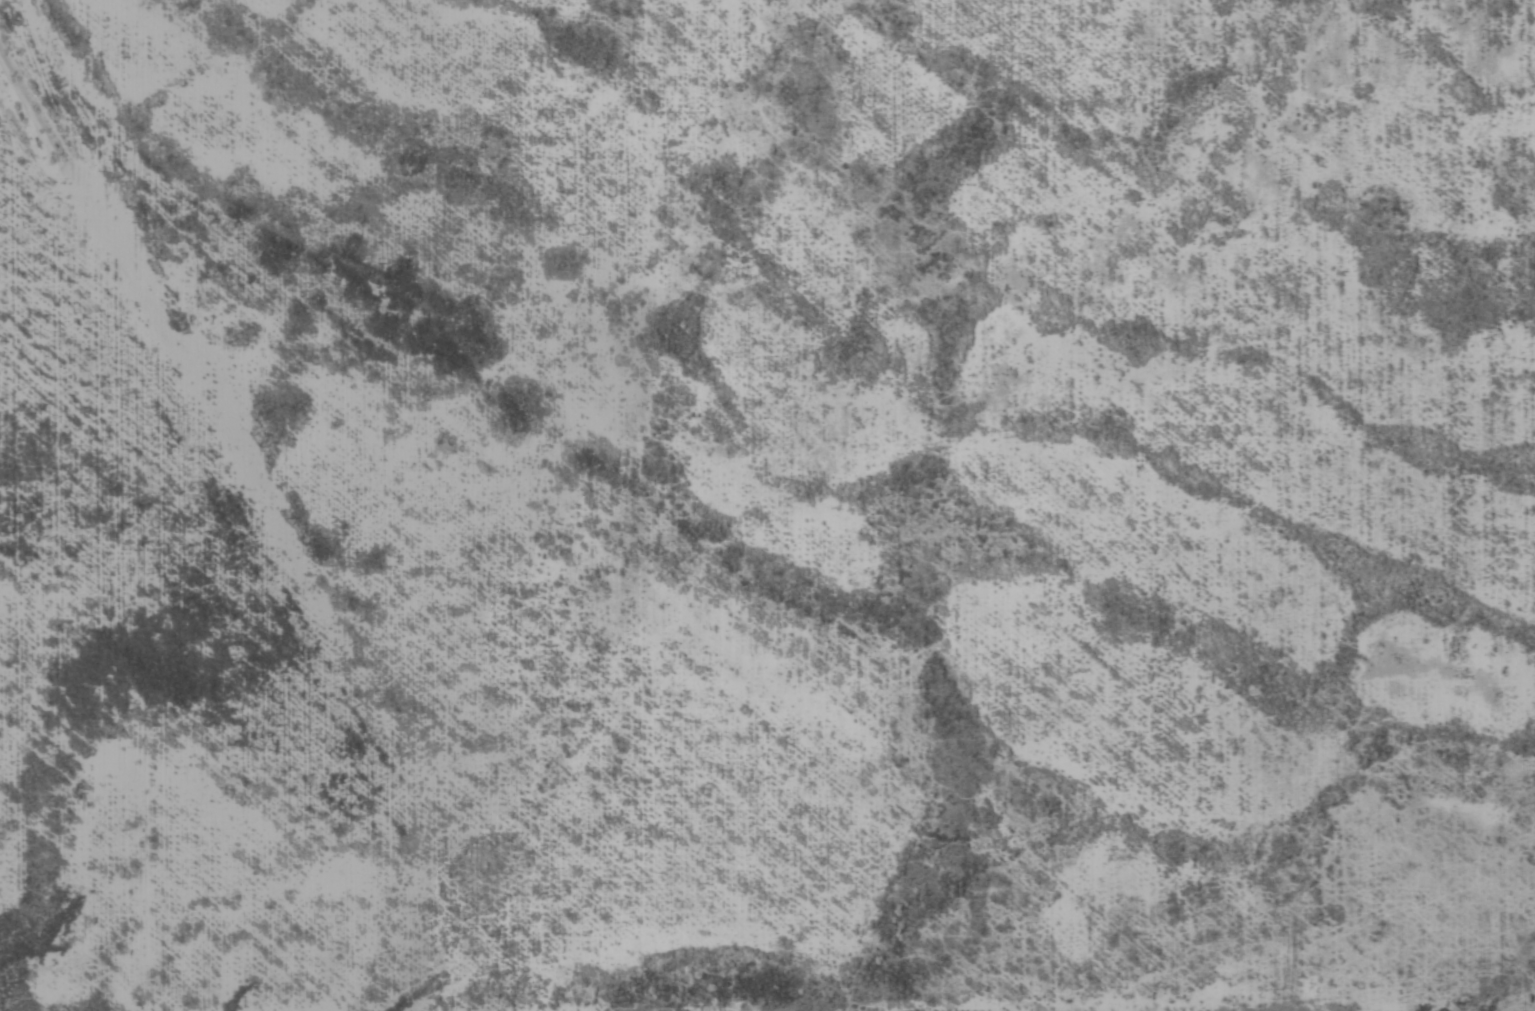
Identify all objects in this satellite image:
crop: (825, 988)

